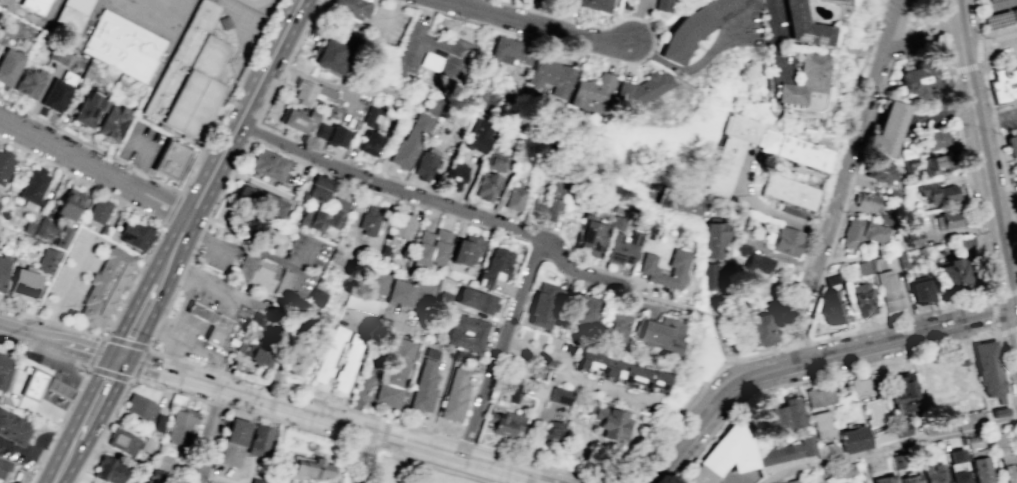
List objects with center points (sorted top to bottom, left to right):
building: (841, 0)
track: (252, 1)
park: (117, 4)
park: (184, 4)
building: (597, 4)
building: (33, 5)
building: (664, 5)
building: (720, 6)
building: (348, 7)
road: (998, 7)
road: (437, 12)
building: (74, 13)
parking lot: (892, 13)
parking lot: (998, 14)
park: (922, 16)
road: (939, 16)
park: (159, 17)
road: (666, 23)
road: (533, 24)
parking lot: (752, 25)
building: (804, 25)
road: (600, 27)
road: (897, 27)
road: (302, 32)
building: (686, 33)
road: (979, 36)
road: (778, 39)
road: (902, 41)
building: (124, 46)
road: (920, 46)
road: (984, 48)
building: (512, 50)
building: (447, 51)
road: (898, 53)
building: (56, 55)
building: (329, 55)
road: (919, 57)
road: (271, 63)
road: (977, 66)
road: (980, 66)
building: (9, 67)
road: (690, 67)
road: (284, 69)
building: (552, 76)
building: (190, 78)
building: (805, 79)
building: (920, 80)
road: (318, 82)
building: (28, 84)
building: (1004, 86)
building: (310, 91)
building: (644, 91)
building: (593, 92)
building: (56, 96)
building: (432, 104)
building: (87, 110)
building: (455, 114)
building: (296, 118)
road: (992, 118)
parking lot: (1008, 121)
building: (114, 125)
building: (890, 129)
road: (252, 130)
building: (332, 133)
building: (369, 133)
building: (478, 136)
road: (995, 137)
building: (938, 138)
building: (410, 141)
building: (1012, 143)
road: (67, 152)
building: (805, 155)
road: (150, 157)
building: (170, 159)
road: (987, 160)
building: (495, 162)
building: (1016, 162)
building: (424, 163)
building: (266, 164)
building: (939, 164)
building: (6, 166)
road: (320, 170)
road: (968, 170)
building: (884, 171)
road: (216, 172)
railway: (984, 172)
building: (454, 175)
building: (486, 185)
building: (33, 186)
road: (388, 186)
building: (319, 188)
road: (185, 189)
building: (790, 191)
road: (981, 192)
building: (938, 193)
building: (513, 198)
building: (679, 199)
building: (868, 200)
building: (258, 201)
building: (555, 201)
road: (163, 202)
building: (69, 204)
road: (765, 206)
road: (481, 207)
building: (536, 208)
road: (838, 208)
road: (140, 209)
road: (174, 209)
building: (99, 212)
building: (328, 215)
building: (948, 219)
building: (368, 220)
building: (617, 222)
road: (189, 223)
building: (402, 225)
building: (44, 229)
building: (250, 229)
building: (862, 232)
building: (135, 234)
building: (913, 234)
building: (589, 235)
building: (64, 238)
building: (717, 239)
building: (785, 240)
building: (965, 242)
road: (178, 247)
building: (433, 247)
building: (621, 248)
building: (468, 250)
road: (256, 253)
building: (46, 260)
building: (761, 263)
building: (497, 267)
building: (863, 267)
road: (576, 269)
building: (648, 269)
building: (3, 270)
parking lot: (72, 273)
road: (182, 273)
road: (187, 273)
building: (715, 275)
building: (953, 275)
building: (261, 276)
building: (374, 281)
building: (23, 283)
road: (215, 286)
road: (63, 287)
building: (103, 287)
road: (816, 289)
building: (888, 290)
building: (920, 290)
building: (409, 293)
road: (241, 297)
building: (316, 297)
road: (170, 298)
building: (444, 298)
building: (861, 299)
building: (478, 301)
building: (360, 302)
building: (543, 306)
building: (753, 307)
building: (829, 307)
building: (582, 311)
road: (144, 312)
building: (200, 312)
road: (996, 312)
road: (19, 313)
road: (210, 317)
building: (257, 319)
road: (47, 321)
road: (158, 323)
road: (183, 326)
building: (615, 327)
building: (760, 329)
road: (79, 330)
building: (217, 330)
road: (23, 333)
building: (469, 333)
building: (661, 334)
road: (911, 337)
road: (192, 342)
road: (13, 343)
road: (148, 345)
road: (499, 348)
road: (83, 349)
building: (258, 354)
building: (329, 354)
road: (50, 355)
road: (167, 355)
building: (294, 359)
traffic signals: (119, 360)
road: (191, 362)
building: (348, 362)
building: (599, 364)
road: (867, 365)
road: (211, 368)
building: (4, 370)
road: (369, 372)
building: (394, 373)
road: (738, 373)
road: (167, 374)
building: (635, 376)
road: (132, 379)
road: (574, 379)
building: (658, 380)
building: (993, 381)
building: (424, 382)
road: (18, 383)
building: (33, 383)
building: (862, 385)
building: (58, 389)
building: (512, 391)
building: (904, 391)
road: (14, 394)
road: (121, 395)
road: (302, 395)
building: (560, 395)
building: (819, 395)
building: (457, 396)
road: (71, 401)
road: (219, 403)
building: (139, 407)
road: (722, 408)
road: (295, 411)
building: (873, 412)
building: (781, 417)
road: (87, 421)
building: (610, 421)
road: (59, 422)
building: (158, 423)
building: (506, 424)
building: (822, 424)
building: (180, 426)
building: (12, 428)
building: (901, 429)
road: (309, 430)
building: (552, 431)
road: (210, 435)
building: (882, 436)
building: (257, 437)
building: (232, 438)
building: (853, 439)
building: (122, 441)
building: (145, 444)
road: (35, 446)
road: (889, 447)
building: (826, 450)
road: (381, 451)
building: (786, 451)
building: (725, 454)
road: (31, 455)
building: (955, 455)
road: (42, 456)
road: (368, 459)
road: (455, 460)
building: (897, 460)
building: (162, 461)
road: (421, 463)
building: (310, 465)
building: (1008, 467)
building: (4, 469)
building: (978, 469)
building: (108, 470)
road: (34, 474)
building: (932, 474)
building: (958, 476)
building: (158, 477)
building: (909, 478)
building: (255, 479)
building: (883, 479)
building: (270, 481)
building: (793, 481)
building: (208, 482)

